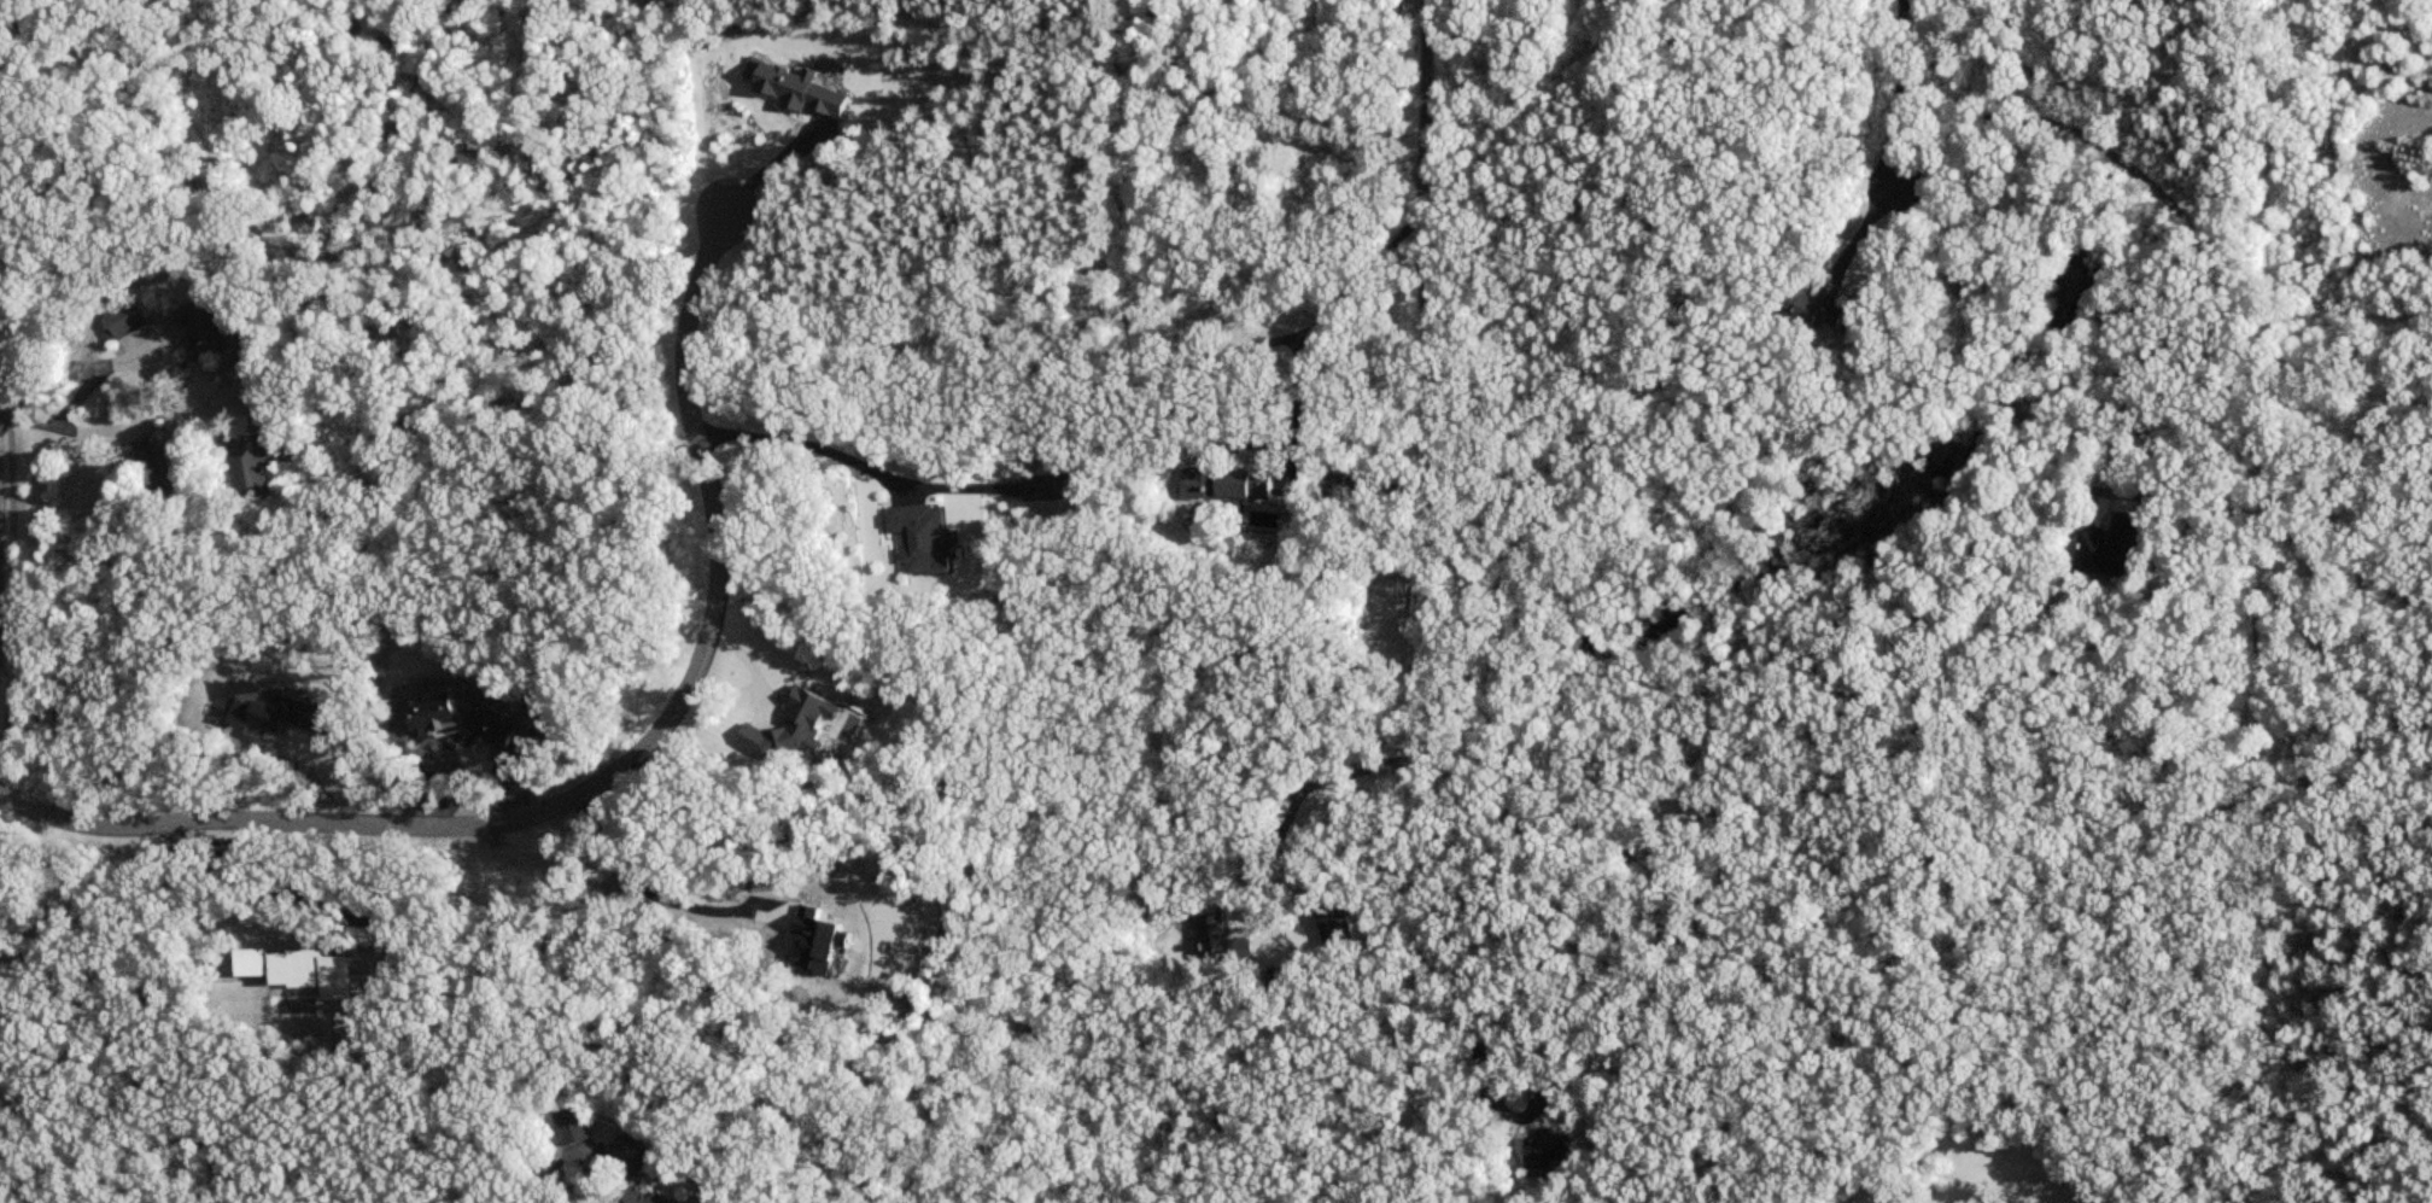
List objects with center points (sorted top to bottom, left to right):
road: (1899, 89)
road: (2218, 290)
building: (1812, 306)
building: (121, 320)
building: (198, 331)
road: (11, 366)
road: (105, 369)
road: (115, 430)
road: (1271, 443)
road: (808, 444)
building: (258, 463)
building: (153, 468)
building: (1224, 485)
road: (1434, 489)
building: (2107, 548)
road: (579, 771)
road: (282, 895)
building: (1217, 939)
building: (572, 1127)
building: (1544, 1150)
road: (1437, 1152)
building: (627, 1156)
road: (549, 1181)
building: (637, 1197)

